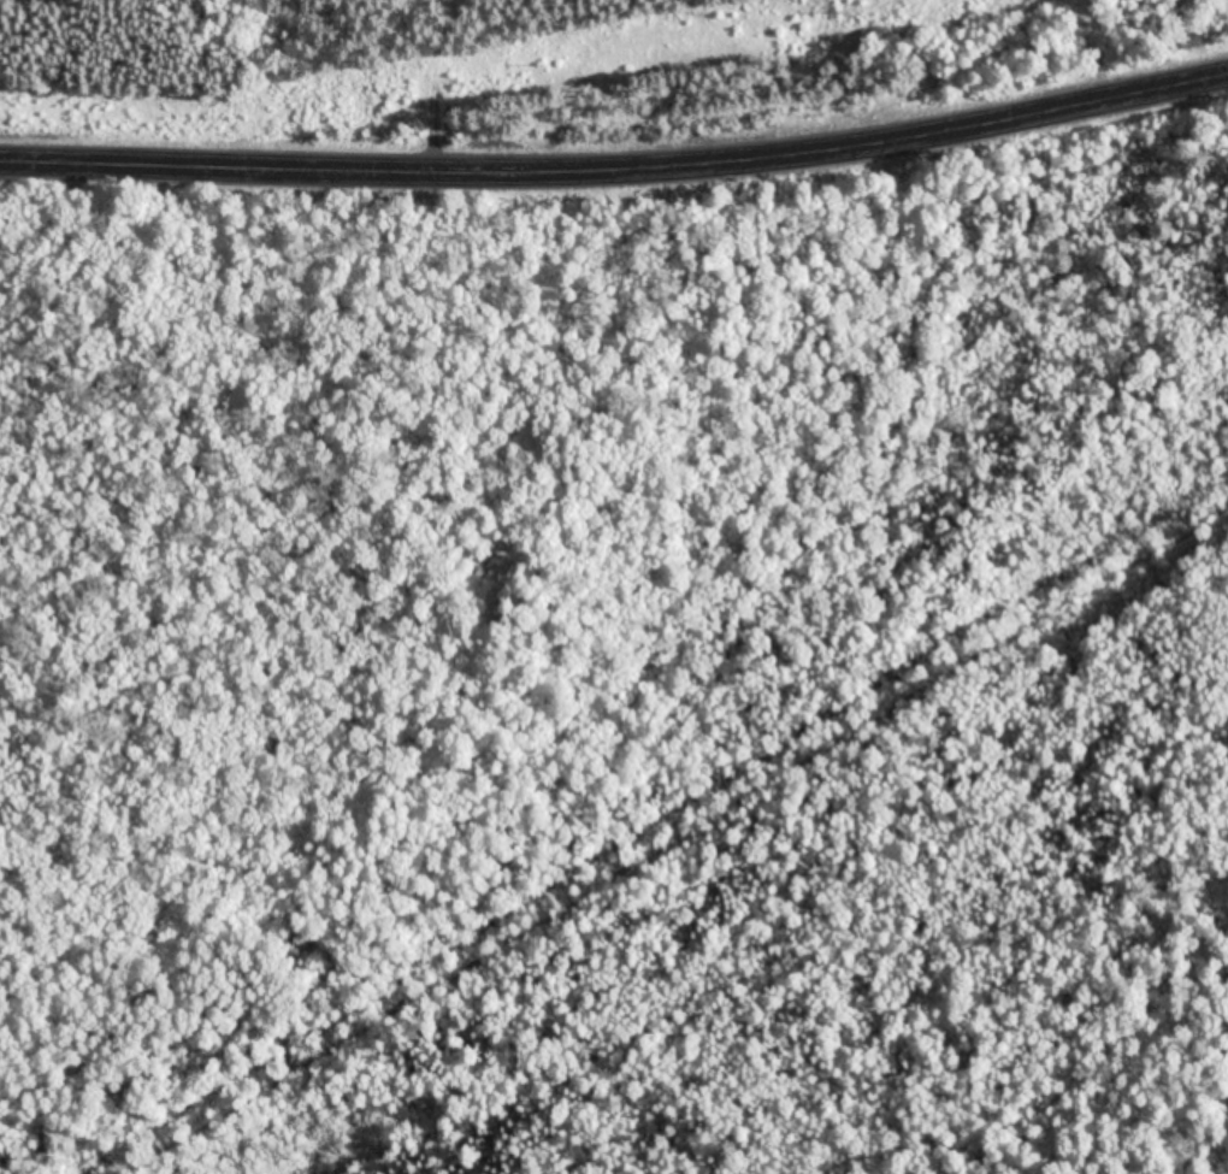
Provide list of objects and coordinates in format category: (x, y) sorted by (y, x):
power tower: (849, 14)
power tower: (547, 66)
power tower: (252, 118)
road: (618, 169)

